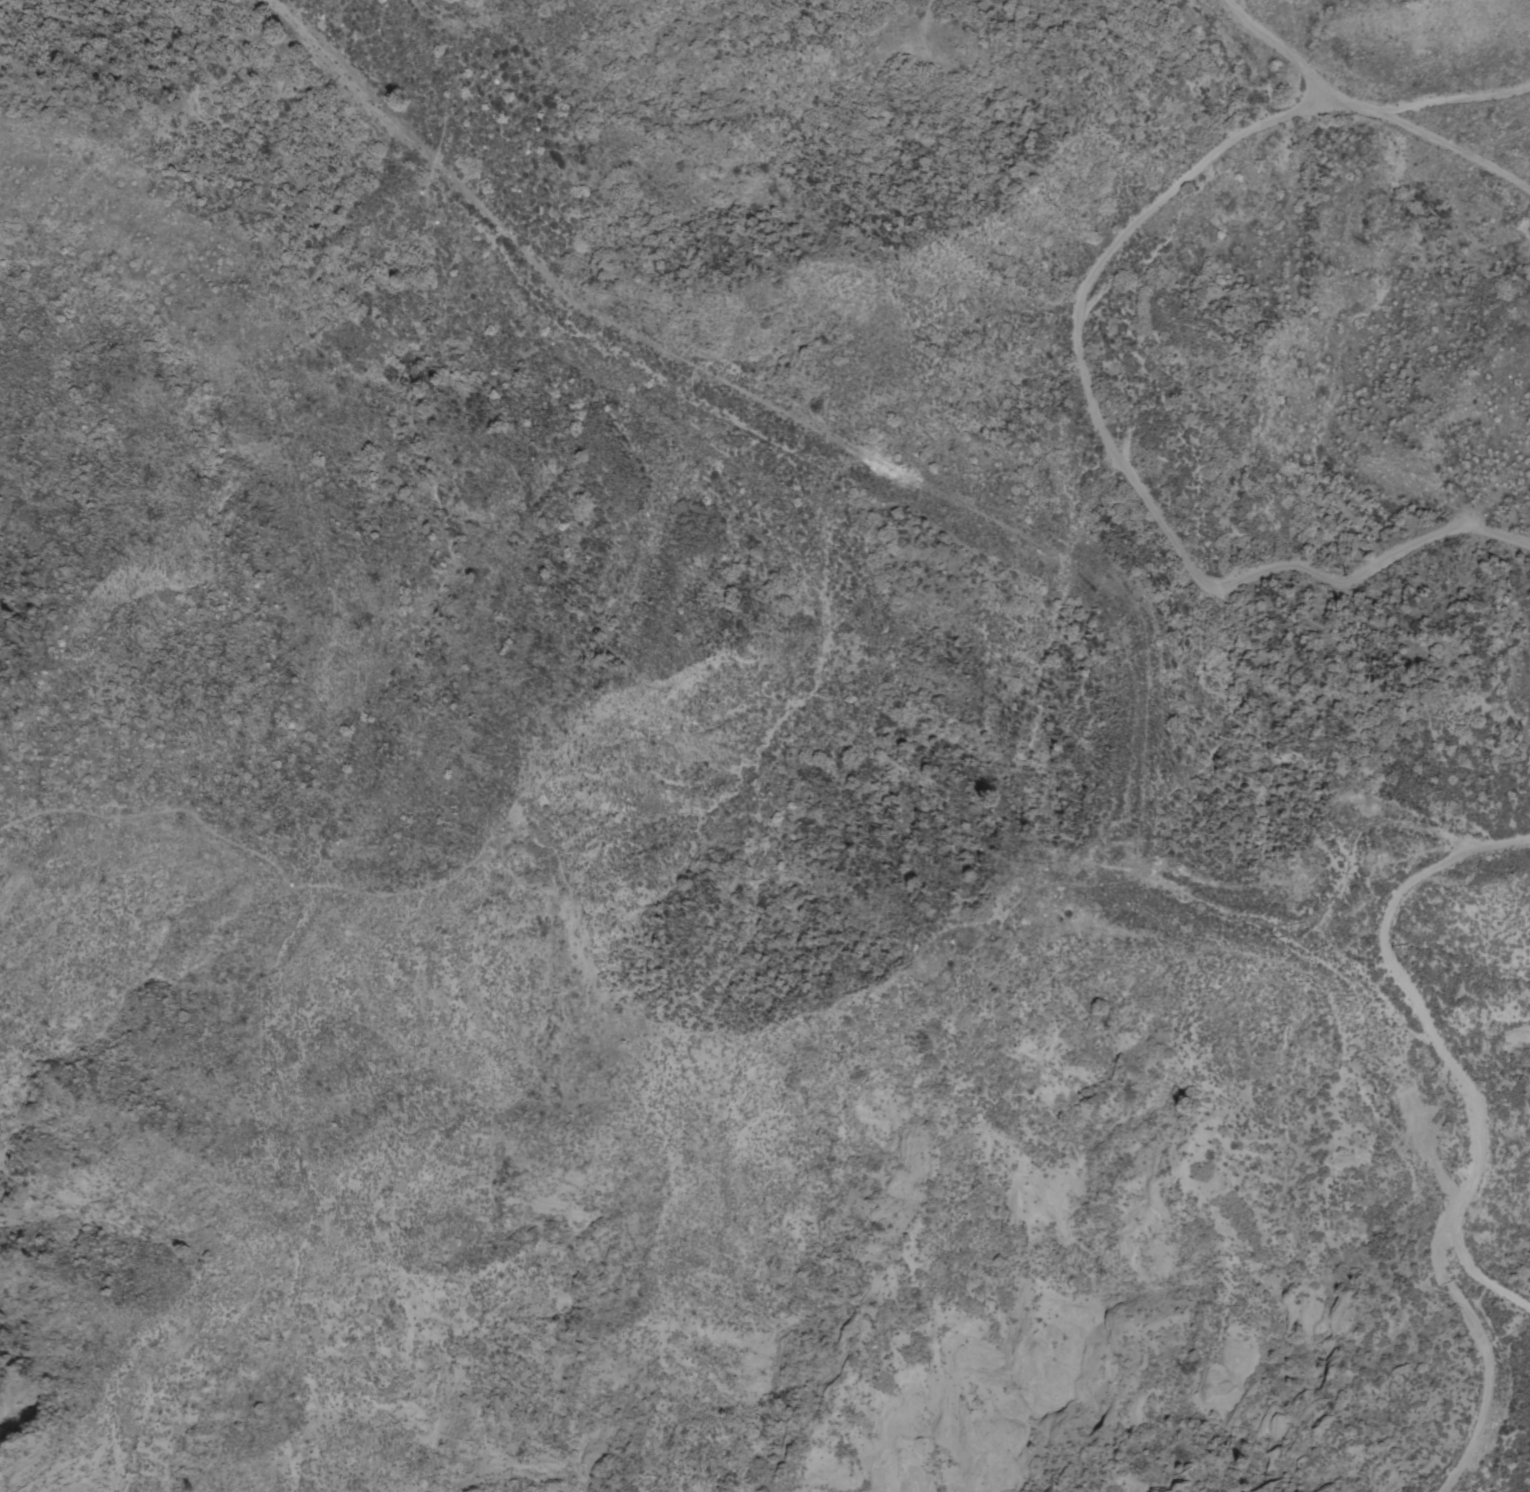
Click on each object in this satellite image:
road: (1368, 111)

